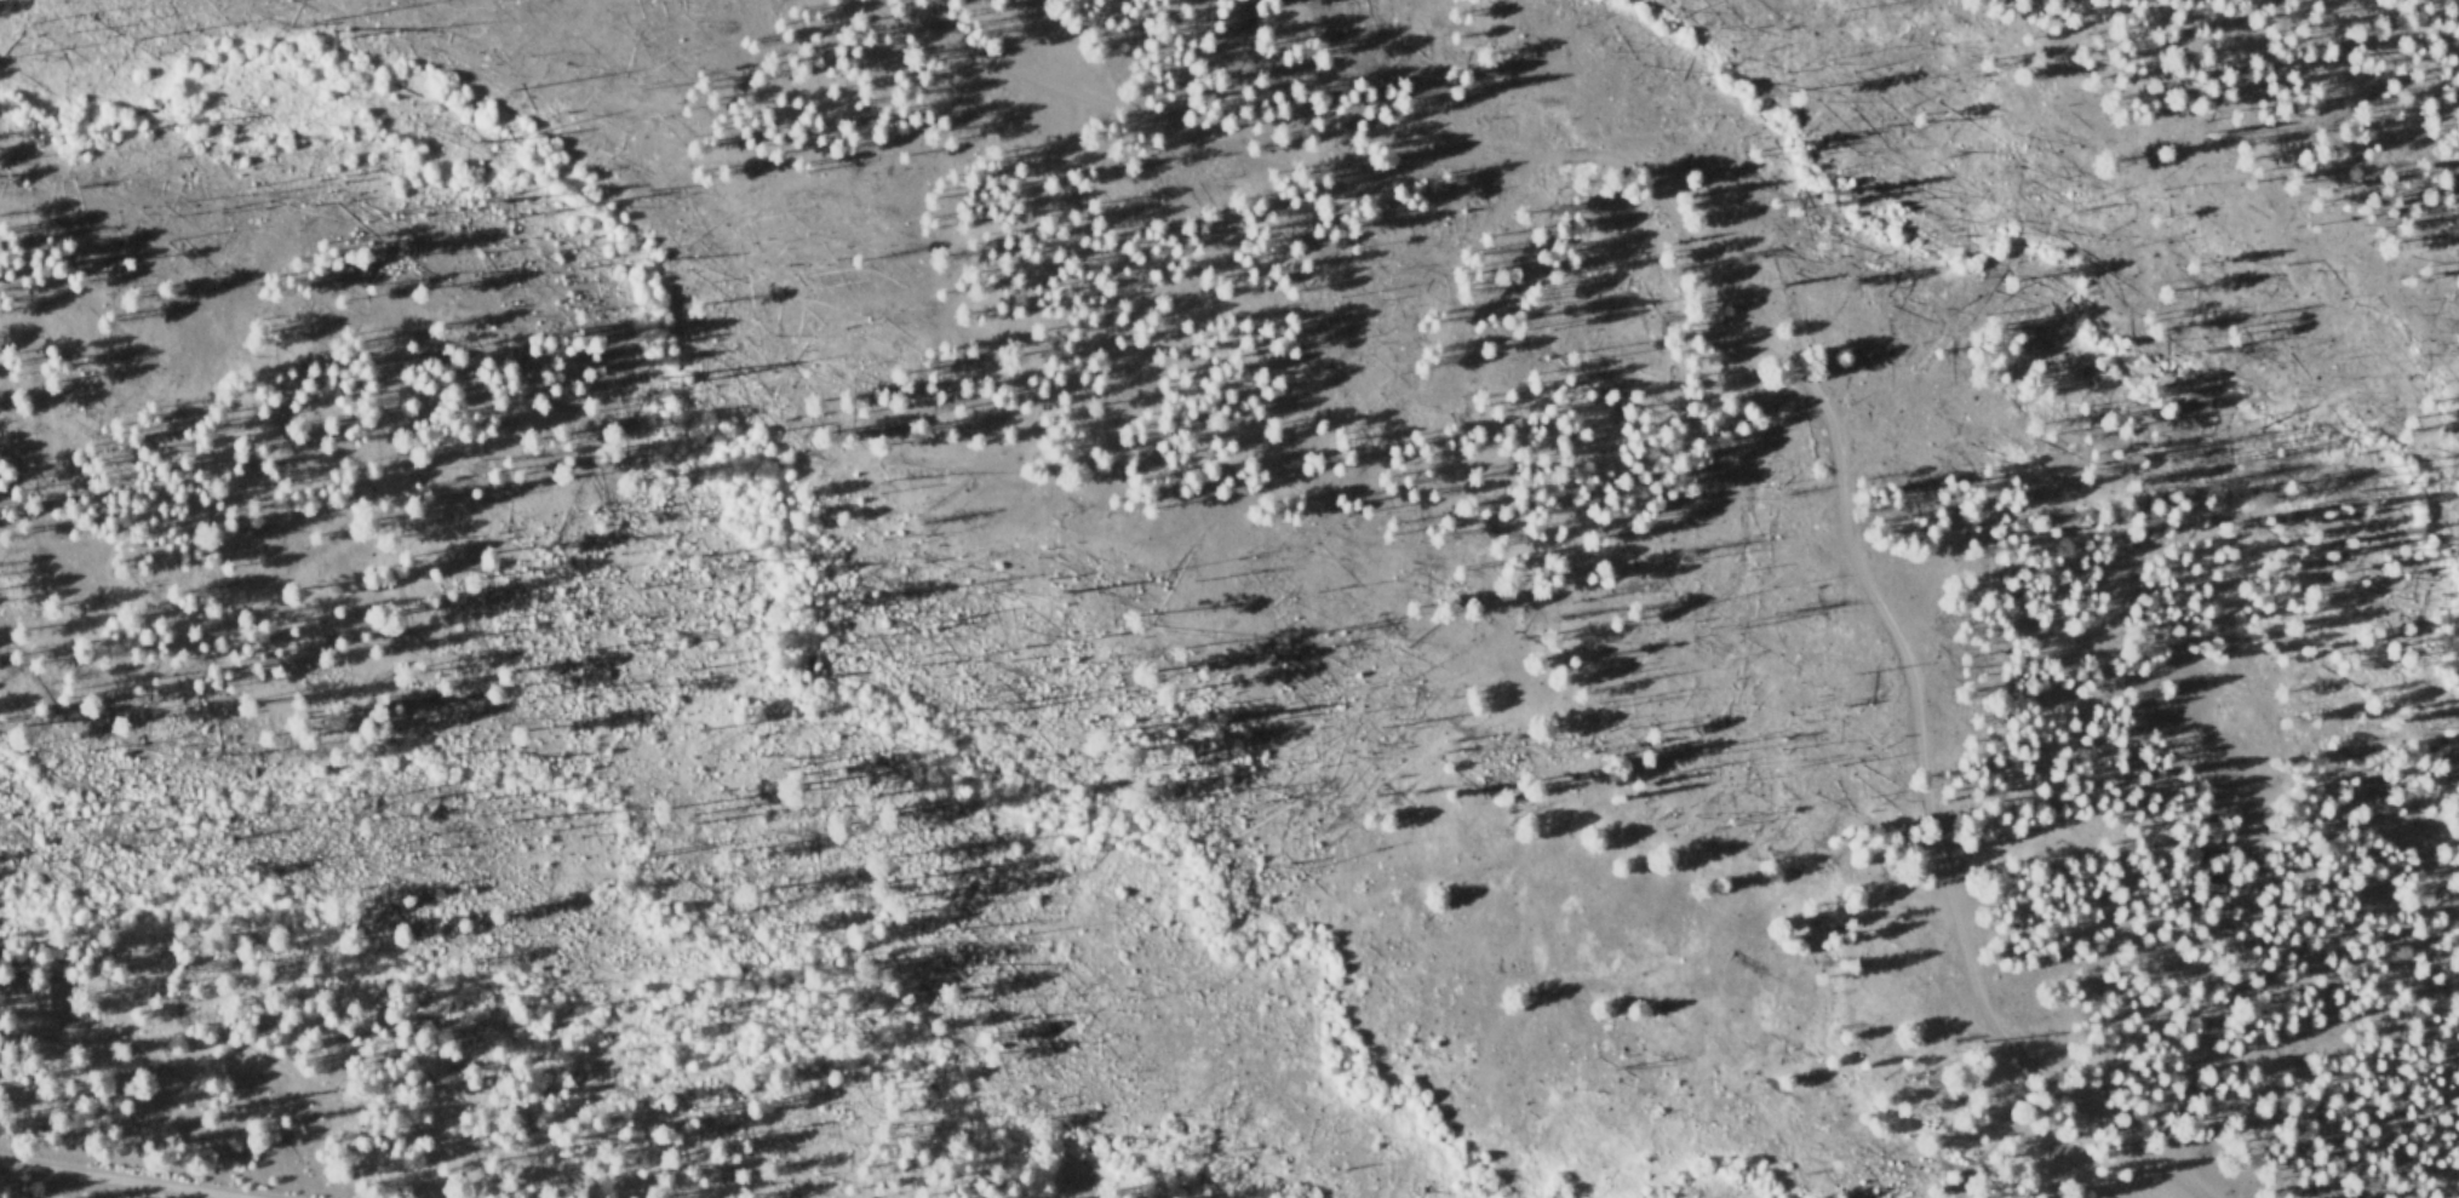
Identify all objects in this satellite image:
road: (2458, 0)
road: (1767, 329)
road: (119, 1179)

